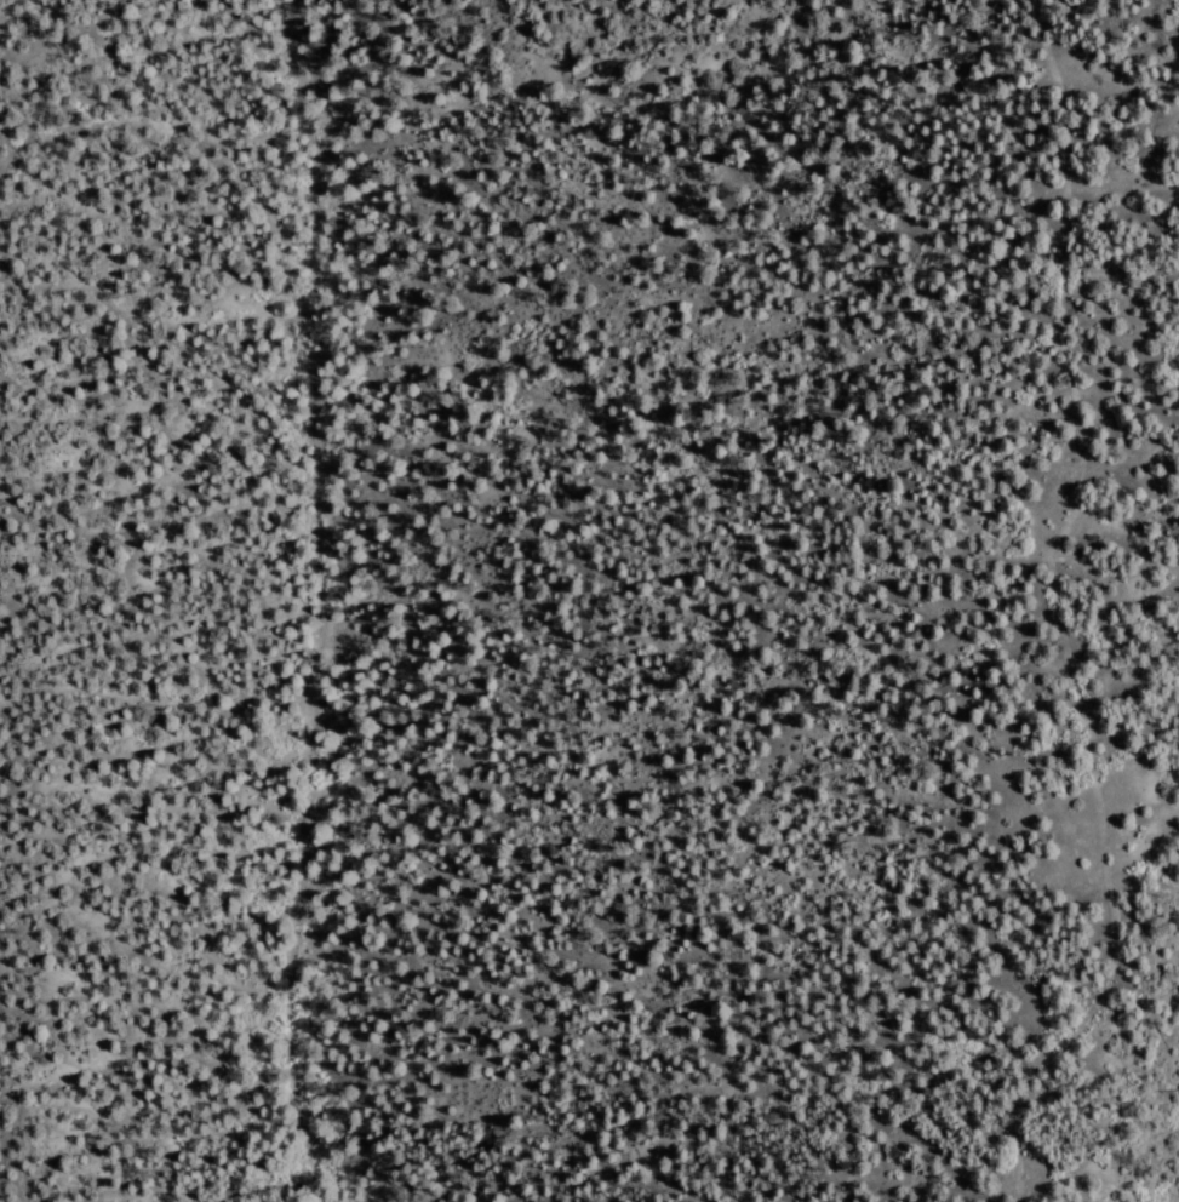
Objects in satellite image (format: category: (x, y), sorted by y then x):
road: (1054, 126)
road: (1163, 214)
road: (871, 597)
road: (1086, 716)

